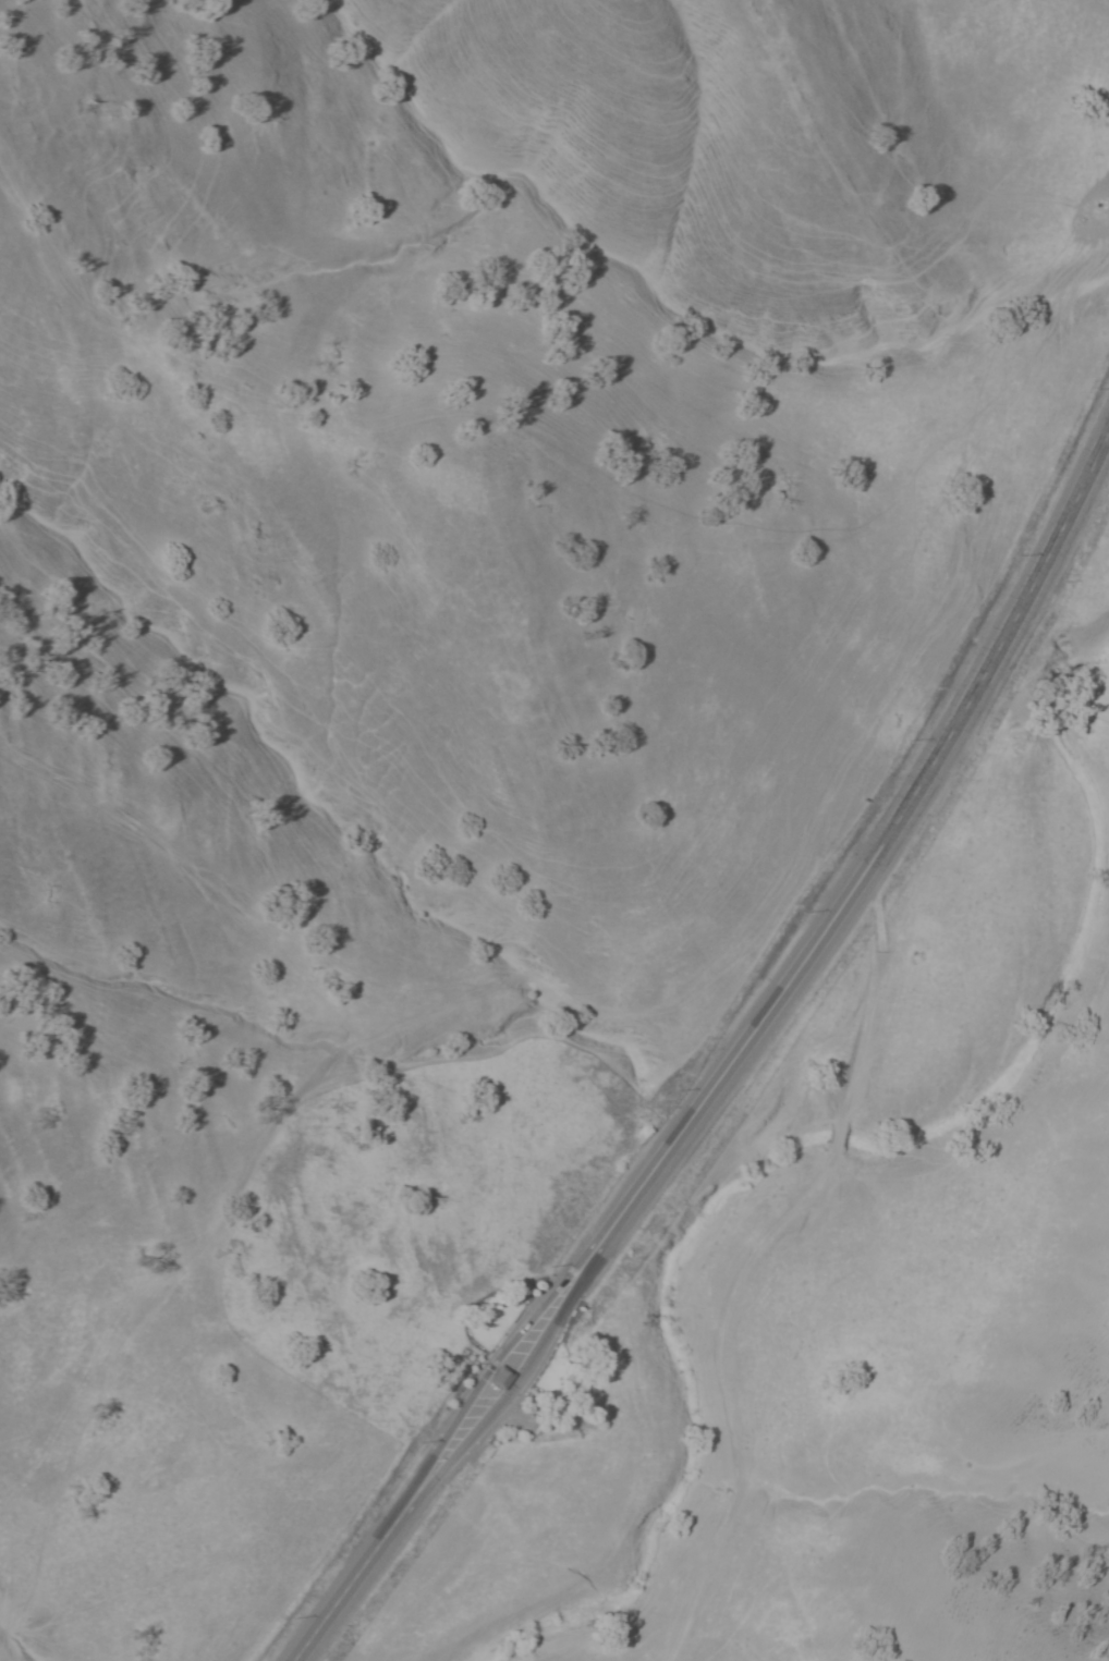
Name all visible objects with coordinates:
road: (1021, 609)
road: (756, 1027)
road: (796, 1222)
road: (490, 1367)
building: (504, 1378)
road: (515, 1385)
road: (358, 1573)

